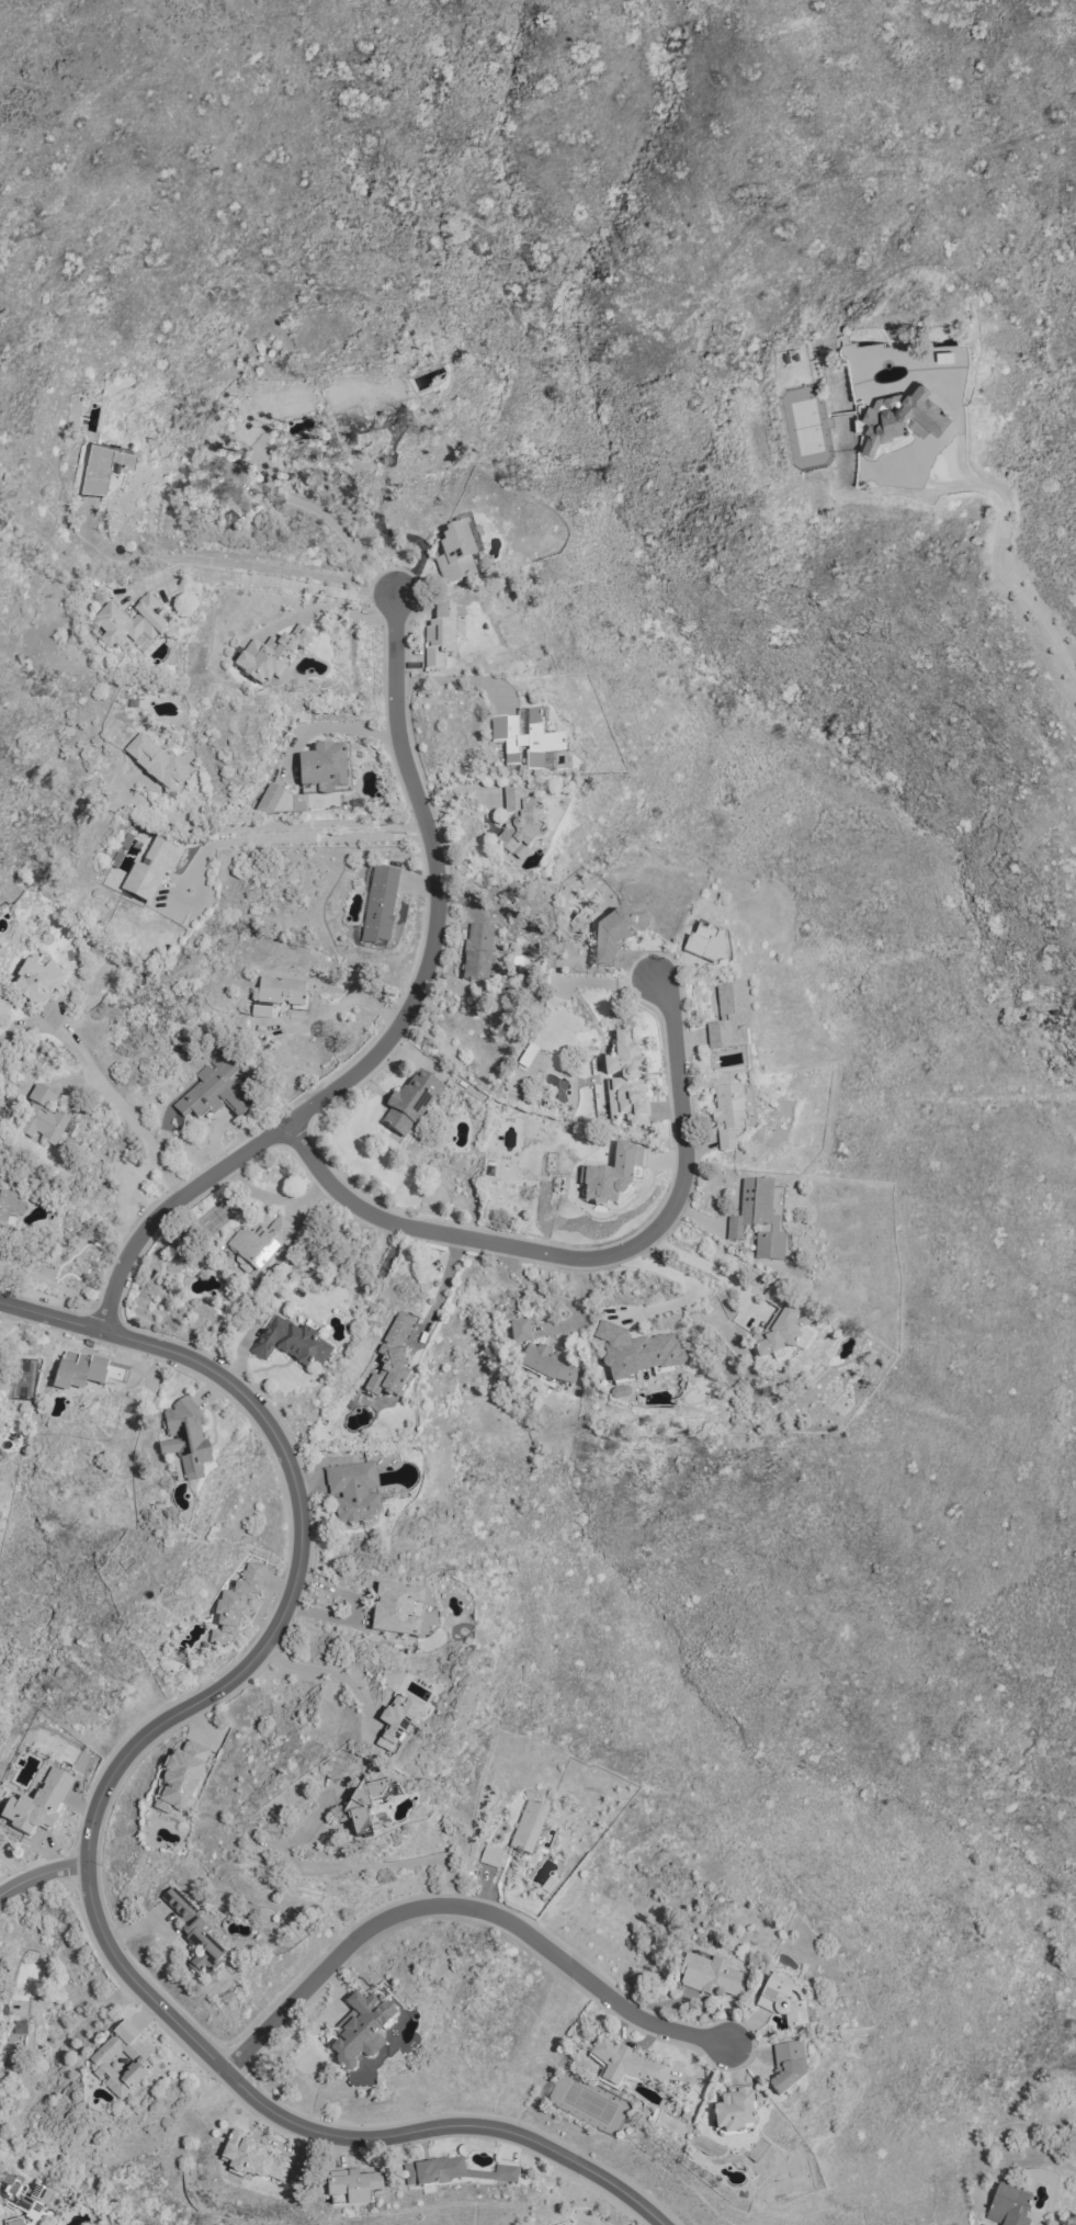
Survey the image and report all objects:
building: (364, 394)
building: (267, 410)
building: (899, 417)
building: (103, 467)
road: (321, 513)
road: (1005, 547)
building: (457, 552)
road: (228, 562)
road: (274, 583)
building: (128, 623)
building: (440, 636)
building: (271, 655)
road: (454, 681)
building: (524, 737)
building: (155, 763)
building: (325, 767)
building: (280, 801)
building: (519, 821)
road: (270, 824)
road: (296, 836)
building: (151, 868)
building: (380, 904)
building: (614, 936)
building: (707, 945)
building: (477, 952)
building: (37, 980)
building: (278, 994)
building: (3, 1009)
building: (729, 1019)
road: (401, 1023)
building: (626, 1082)
building: (213, 1089)
building: (410, 1103)
road: (127, 1110)
building: (727, 1115)
building: (45, 1116)
building: (613, 1176)
building: (5, 1206)
building: (757, 1219)
building: (260, 1243)
road: (585, 1257)
road: (704, 1264)
road: (443, 1284)
road: (55, 1286)
road: (691, 1289)
road: (9, 1319)
building: (778, 1323)
building: (519, 1329)
building: (291, 1343)
building: (635, 1351)
building: (392, 1357)
building: (551, 1363)
building: (78, 1371)
building: (185, 1438)
building: (352, 1491)
building: (235, 1603)
building: (396, 1610)
road: (331, 1672)
building: (397, 1720)
building: (180, 1777)
building: (356, 1806)
road: (94, 1819)
building: (529, 1827)
building: (490, 1855)
road: (359, 1865)
road: (13, 1867)
road: (42, 1874)
road: (465, 1907)
building: (195, 1934)
building: (710, 1975)
building: (783, 2002)
building: (360, 2030)
building: (120, 2060)
building: (630, 2064)
building: (789, 2065)
building: (734, 2110)
building: (253, 2158)
building: (456, 2172)
building: (352, 2186)
building: (24, 2199)
building: (1008, 2206)

